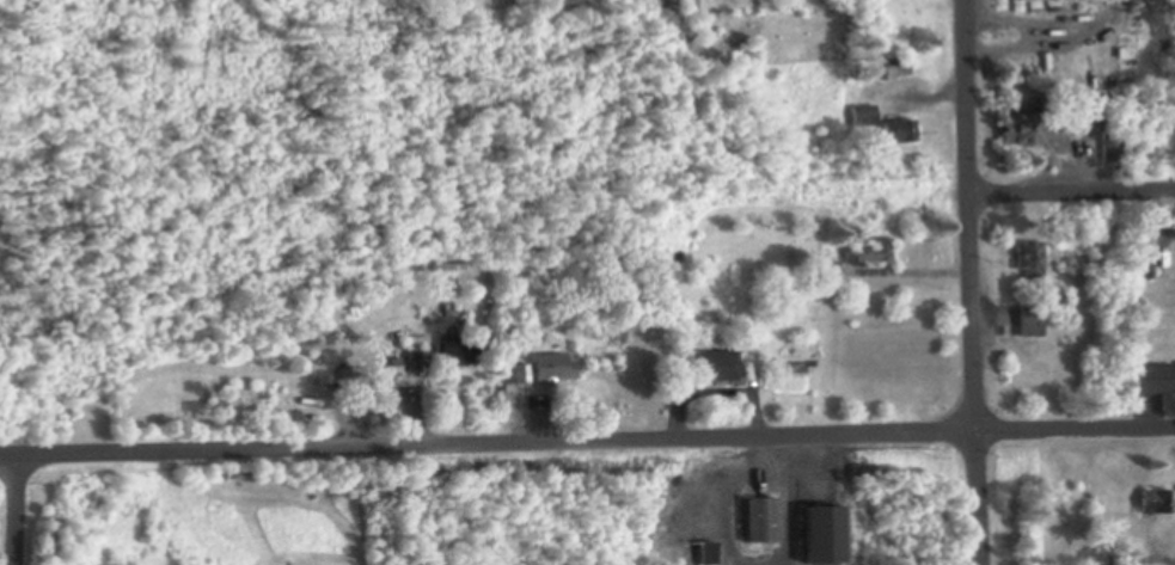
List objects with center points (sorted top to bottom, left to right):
road: (1071, 196)
road: (969, 282)
road: (587, 442)
road: (12, 510)

